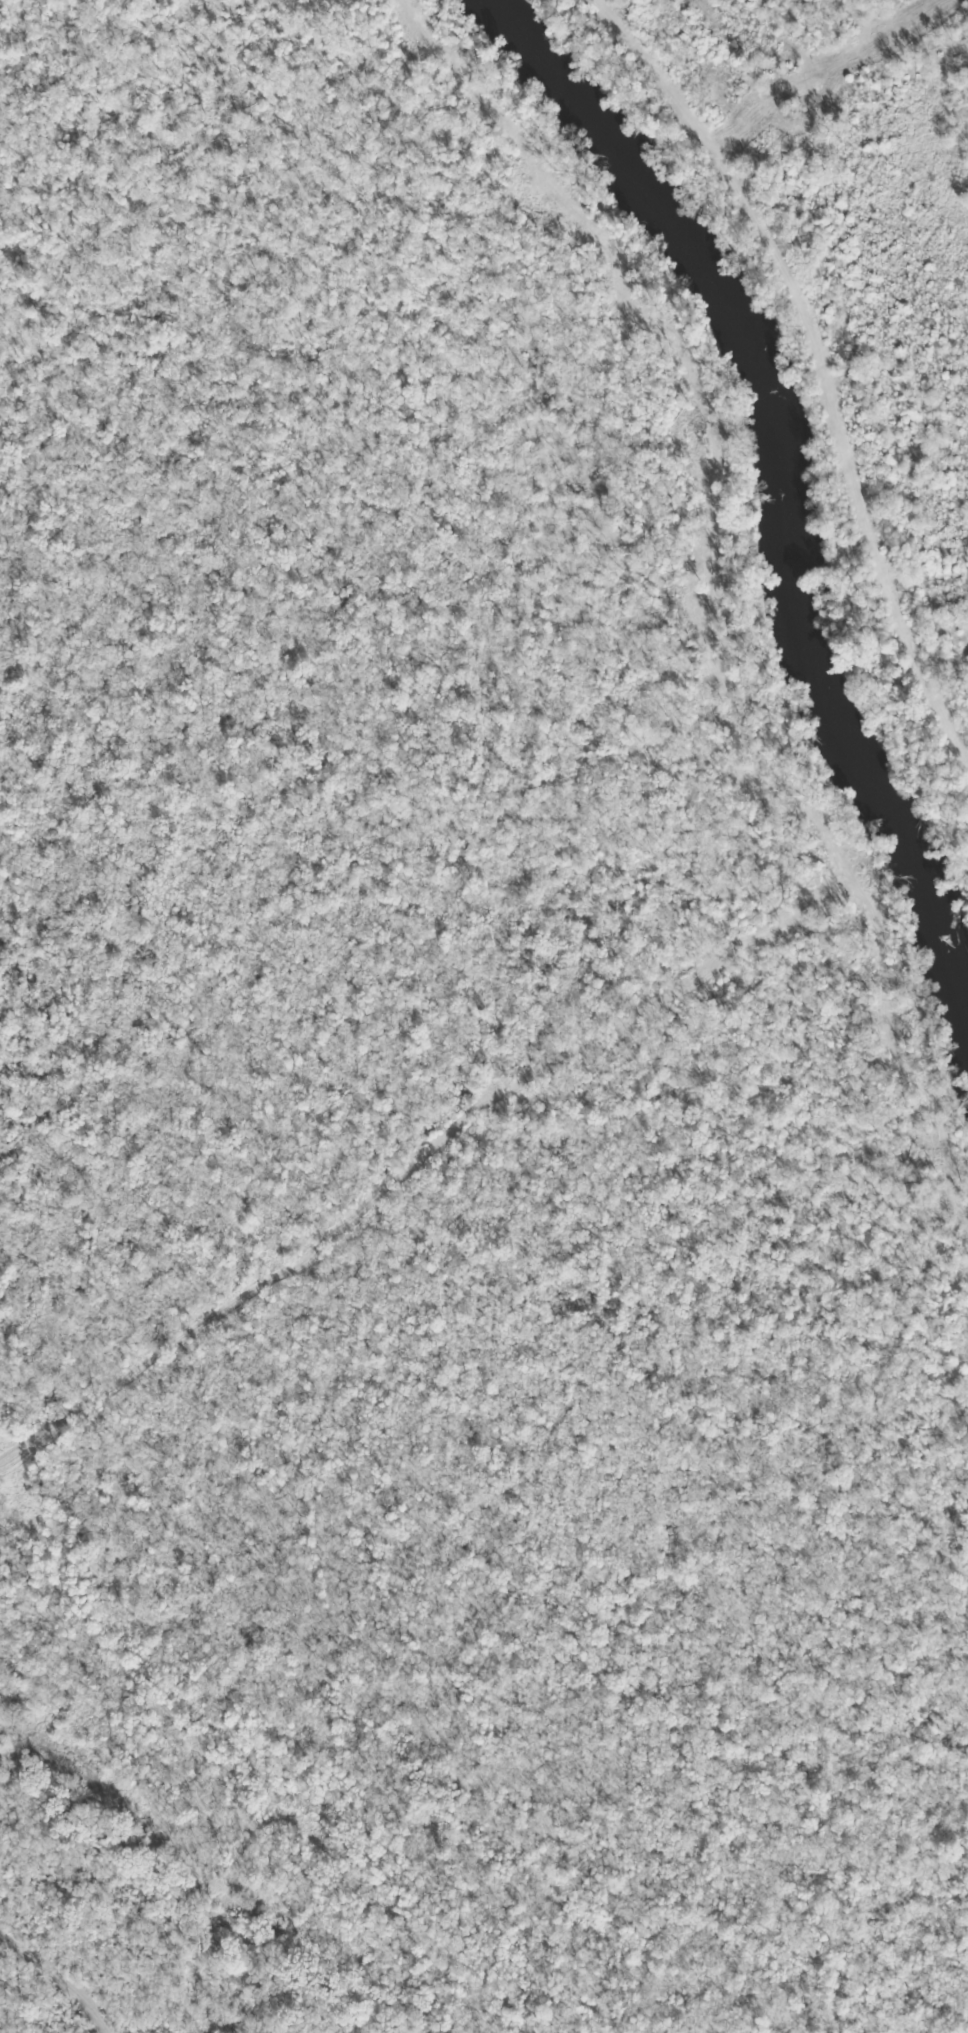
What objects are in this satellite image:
road: (818, 354)
river: (769, 493)

